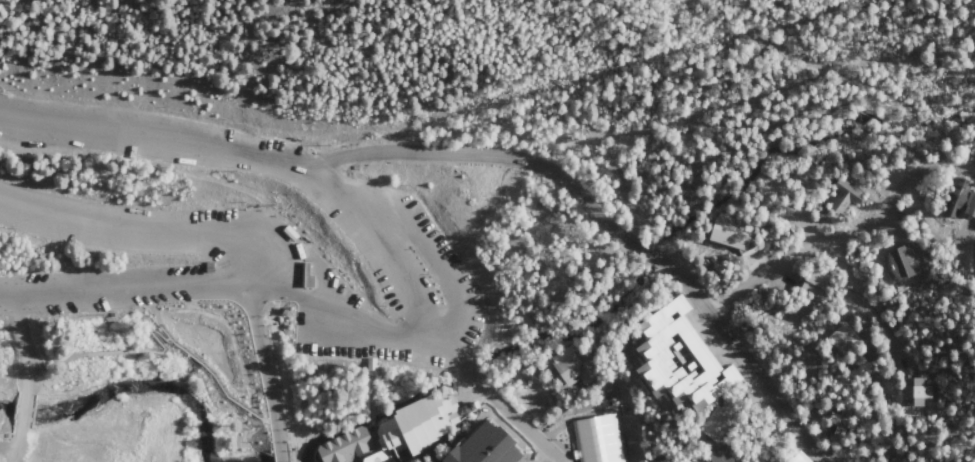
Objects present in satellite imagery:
road: (667, 124)
building: (564, 139)
road: (334, 197)
building: (844, 199)
building: (963, 207)
parking lot: (375, 224)
road: (606, 225)
road: (169, 229)
building: (292, 231)
road: (847, 234)
building: (737, 241)
building: (903, 263)
road: (442, 264)
building: (212, 267)
parking lot: (231, 269)
building: (308, 273)
road: (227, 284)
building: (815, 284)
parking lot: (114, 290)
road: (876, 304)
road: (153, 306)
building: (112, 314)
road: (263, 322)
building: (485, 325)
road: (166, 330)
road: (171, 337)
building: (845, 341)
road: (25, 343)
building: (319, 350)
road: (42, 353)
building: (679, 360)
building: (574, 368)
road: (265, 372)
building: (376, 373)
road: (281, 376)
building: (511, 390)
building: (919, 393)
road: (371, 409)
road: (25, 414)
building: (846, 421)
road: (275, 424)
road: (287, 424)
building: (719, 424)
building: (416, 428)
building: (602, 438)
ski resort: (40, 444)
building: (345, 446)
building: (499, 447)
road: (16, 448)
road: (541, 452)
building: (723, 454)
building: (902, 457)
building: (800, 458)
building: (665, 461)

